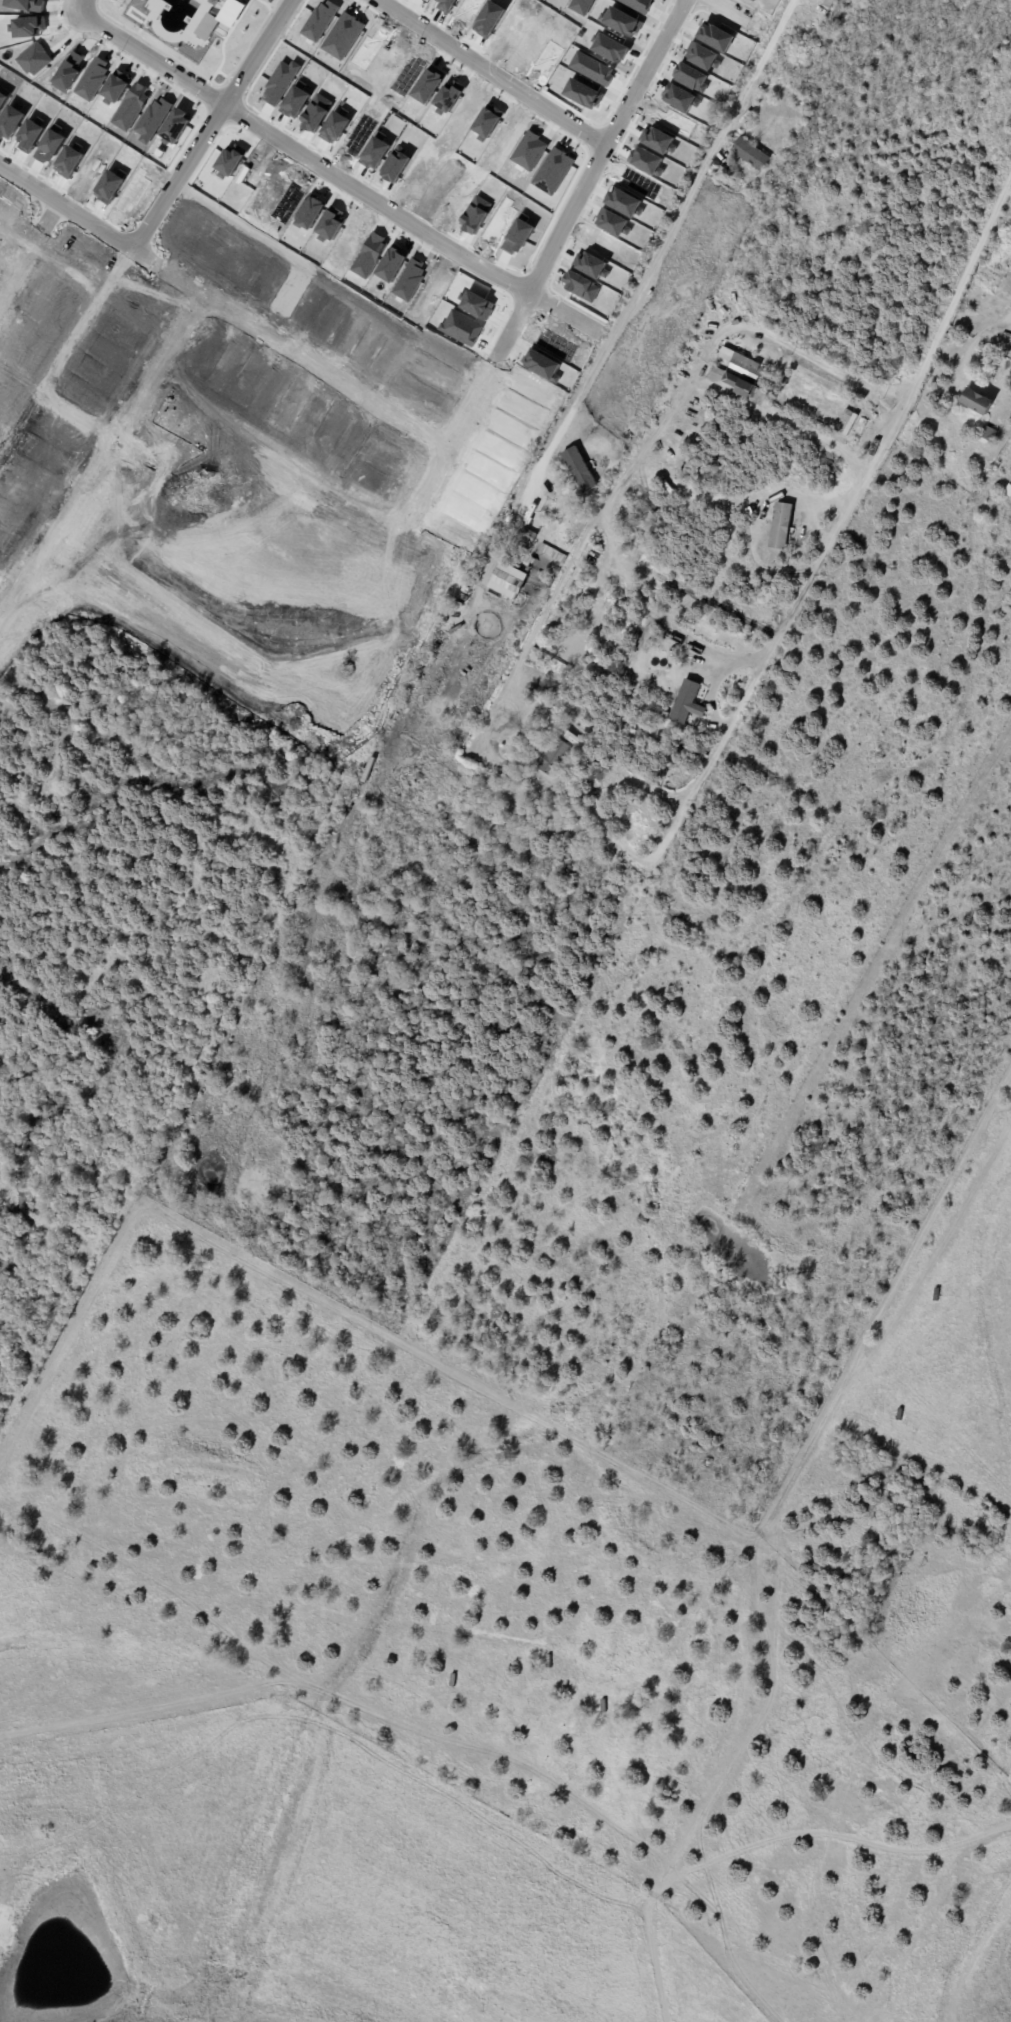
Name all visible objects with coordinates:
building: (828, 4)
road: (83, 5)
road: (721, 10)
building: (835, 17)
road: (489, 72)
road: (207, 124)
building: (744, 157)
road: (328, 170)
building: (722, 173)
road: (589, 177)
road: (64, 207)
road: (29, 249)
road: (657, 259)
road: (956, 294)
building: (963, 302)
building: (977, 316)
building: (685, 362)
building: (741, 367)
road: (318, 374)
building: (736, 387)
road: (467, 403)
building: (974, 404)
building: (937, 405)
road: (121, 420)
road: (663, 425)
building: (985, 436)
building: (997, 444)
building: (579, 472)
building: (1007, 492)
building: (779, 526)
building: (527, 539)
building: (497, 540)
building: (511, 582)
building: (467, 590)
road: (655, 617)
road: (757, 671)
building: (686, 703)
building: (552, 759)
building: (371, 771)

